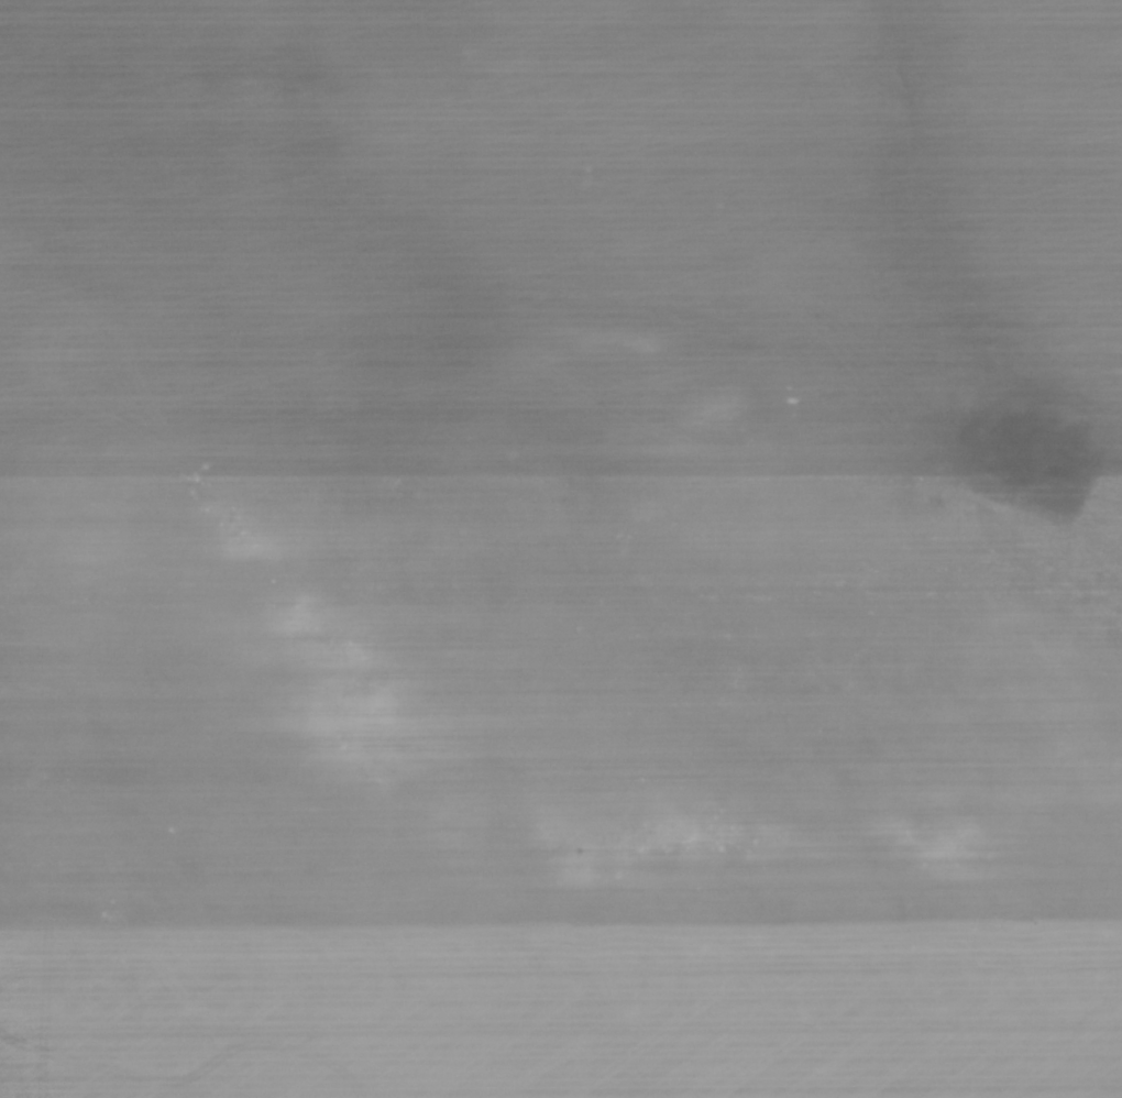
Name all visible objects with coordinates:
crop: (561, 549)

